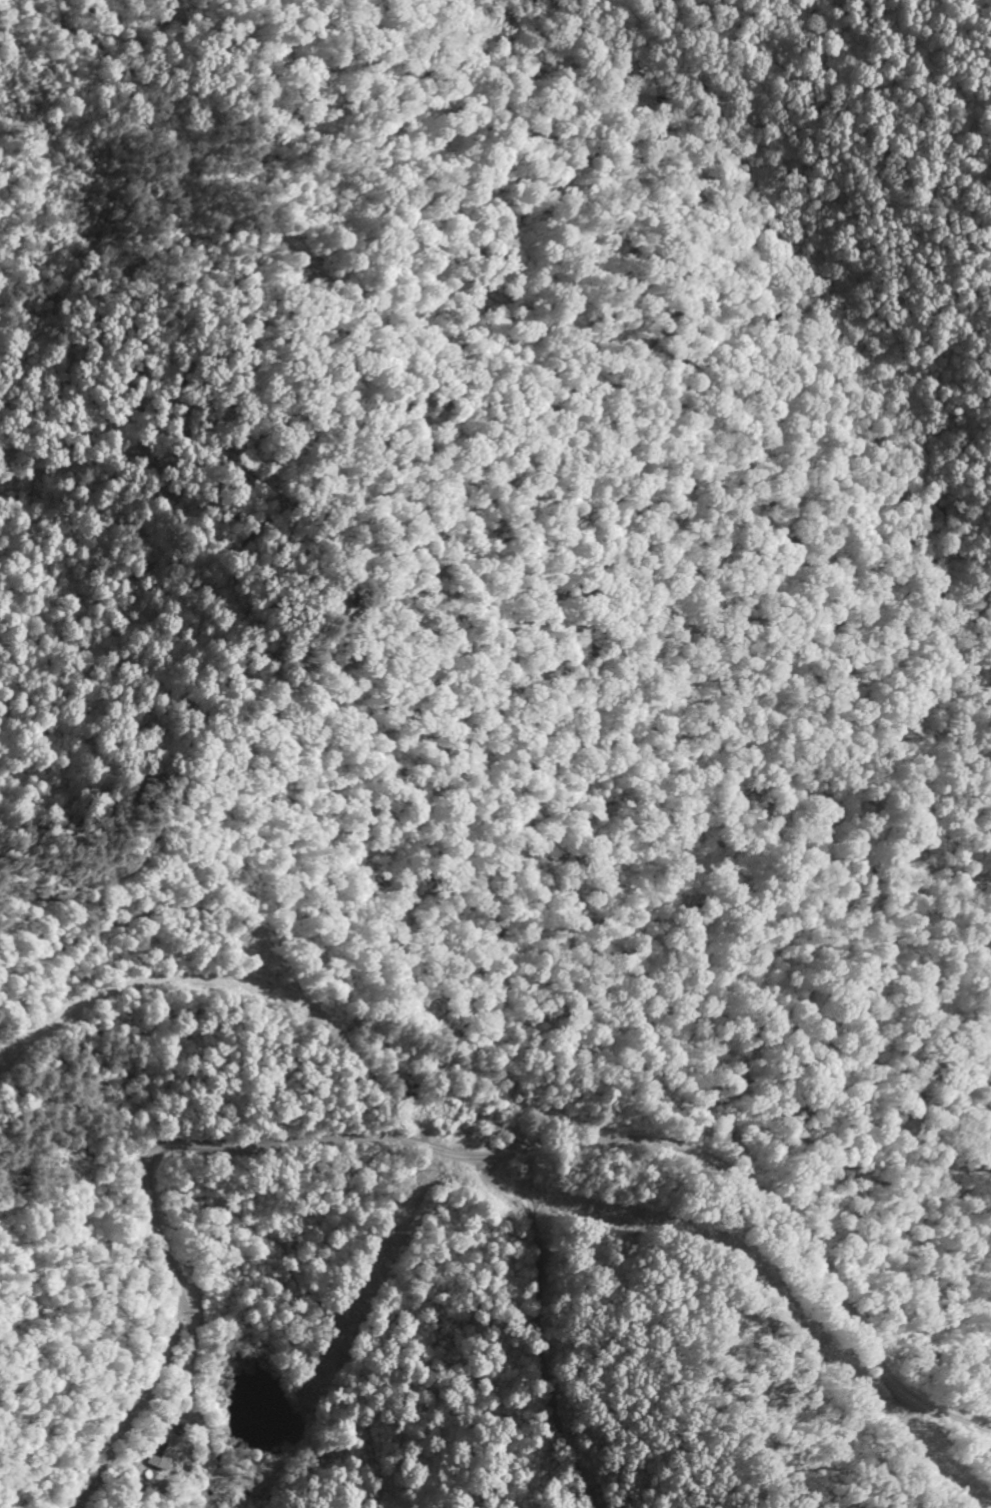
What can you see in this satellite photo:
road: (439, 1153)

